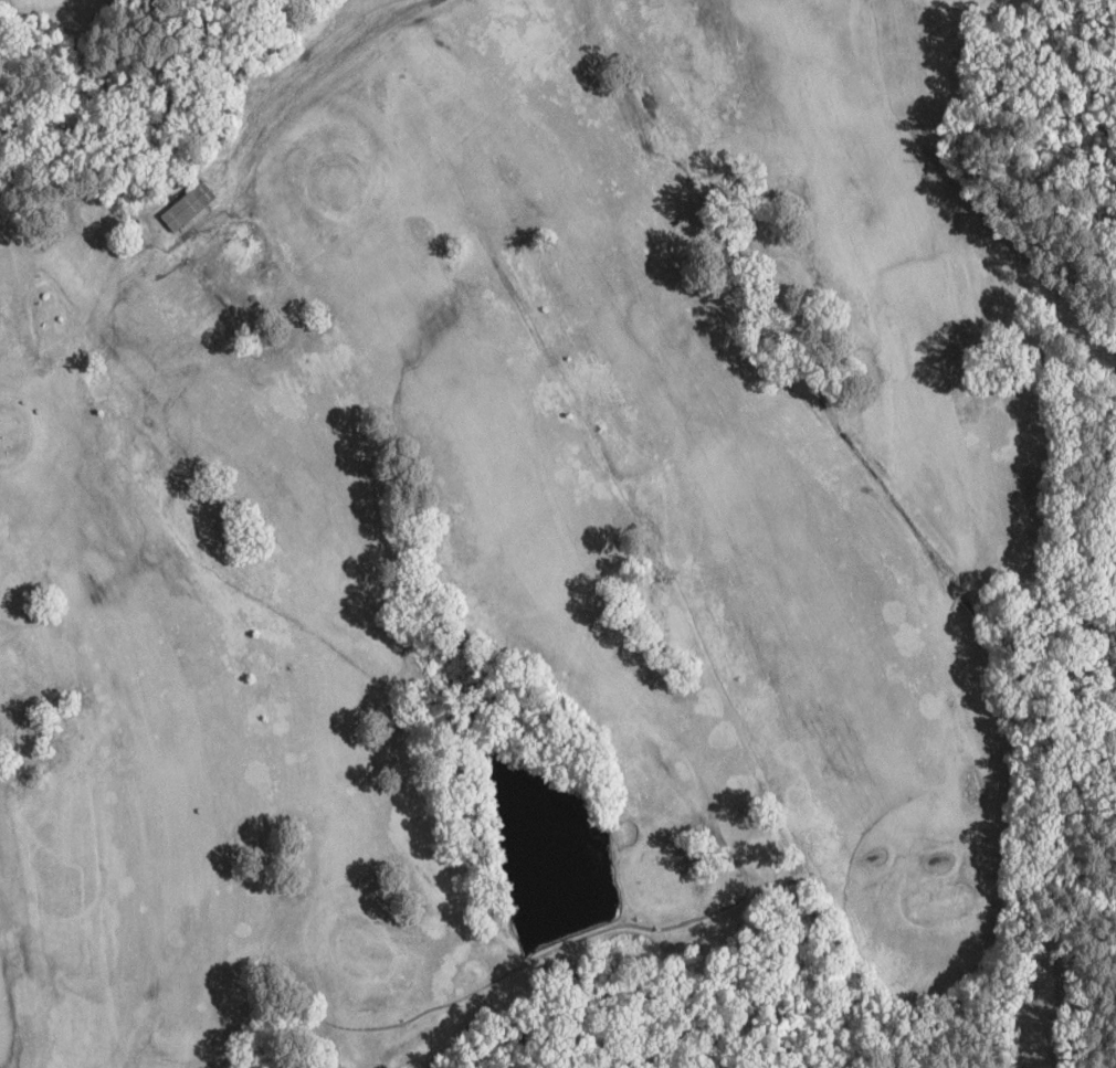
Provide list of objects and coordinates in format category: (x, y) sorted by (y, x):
building: (239, 71)
building: (183, 205)

